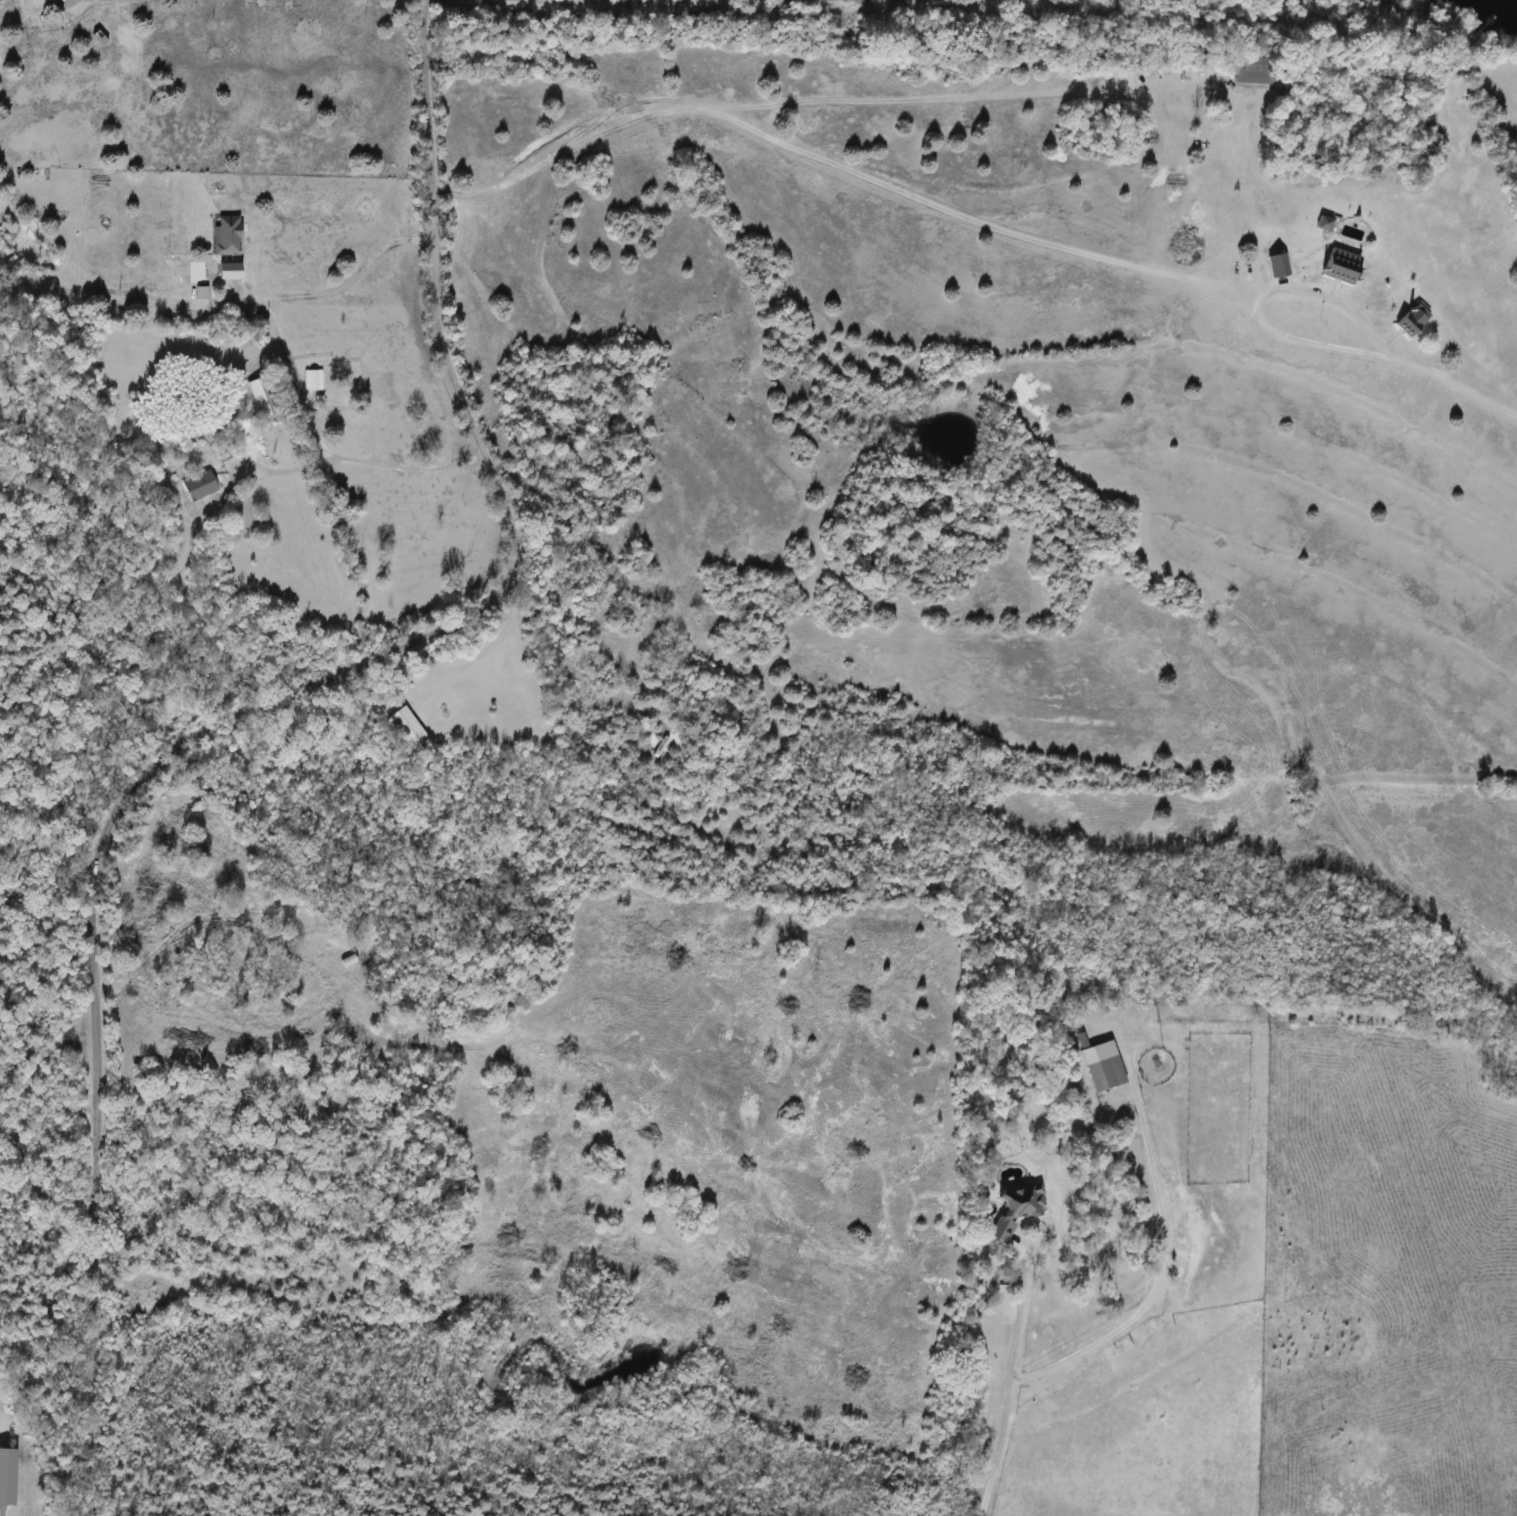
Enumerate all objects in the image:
road: (562, 3)
building: (1253, 73)
road: (1073, 92)
road: (840, 165)
road: (1228, 234)
road: (1210, 264)
building: (1275, 265)
building: (202, 269)
road: (348, 278)
road: (1261, 299)
building: (1408, 319)
road: (277, 330)
building: (314, 381)
road: (1458, 383)
building: (265, 398)
building: (201, 487)
road: (471, 649)
road: (249, 701)
building: (409, 728)
building: (349, 961)
building: (1109, 1074)
building: (1020, 1209)
road: (1154, 1276)
road: (1006, 1391)
building: (10, 1477)

